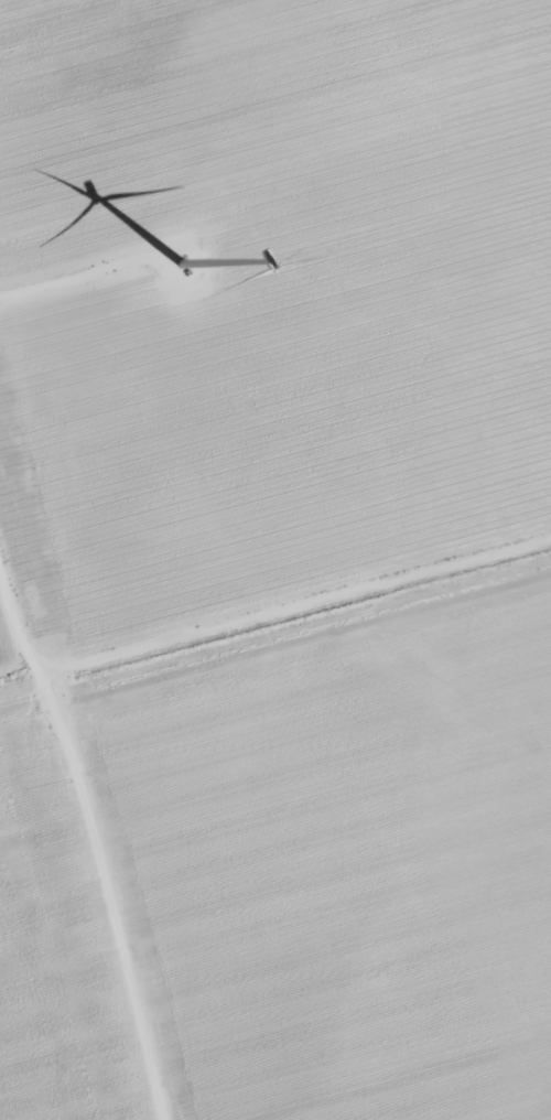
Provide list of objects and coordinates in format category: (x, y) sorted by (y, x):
wind turbine: (182, 266)
road: (95, 846)

